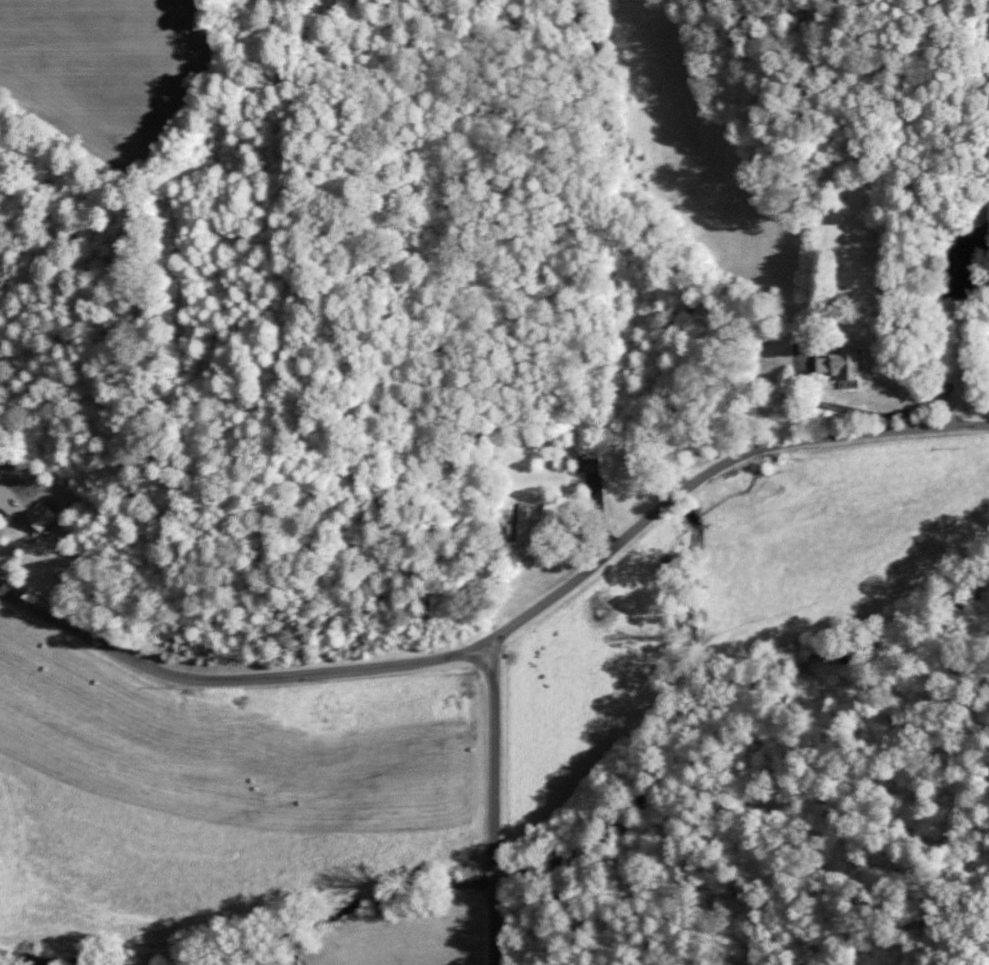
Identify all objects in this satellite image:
building: (833, 216)
building: (834, 365)
building: (963, 391)
building: (588, 463)
building: (40, 518)
building: (525, 522)
road: (508, 627)
road: (493, 803)

